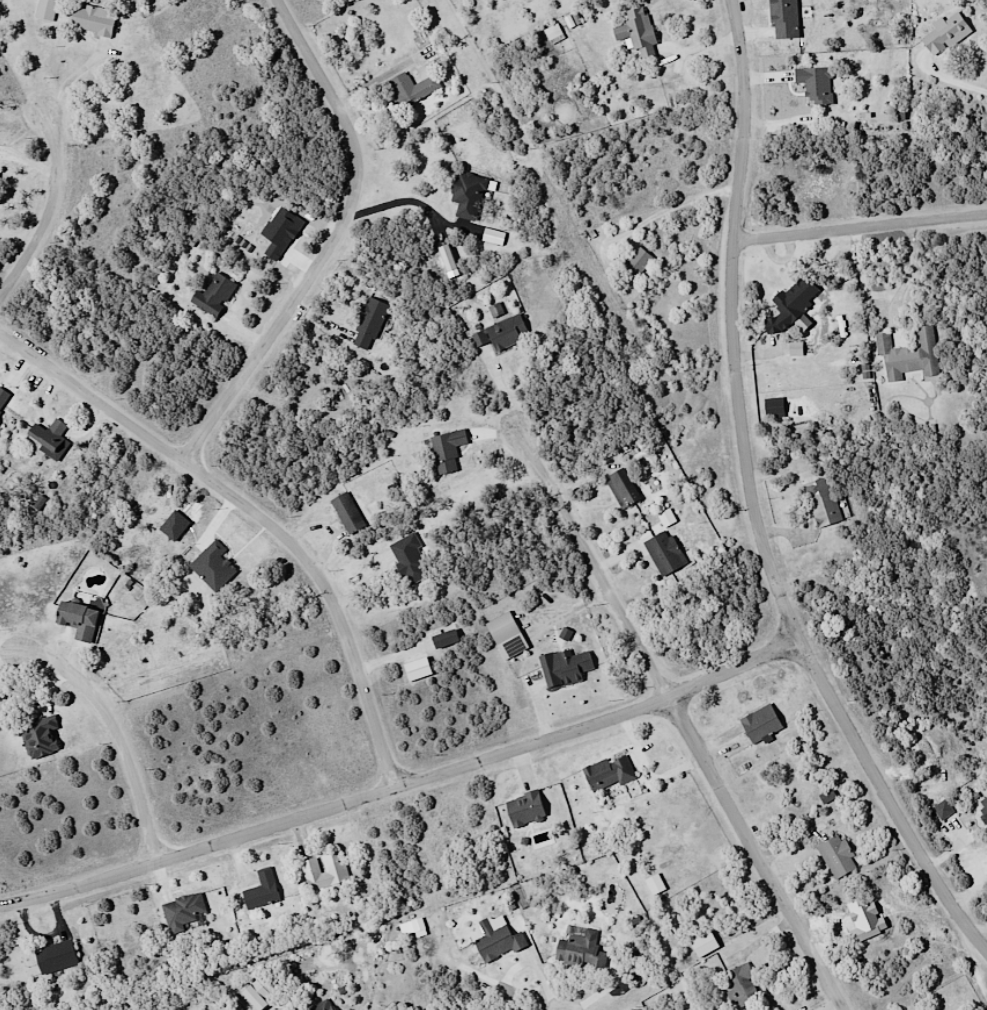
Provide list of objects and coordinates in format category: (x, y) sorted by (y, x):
building: (45, 9)
building: (783, 19)
building: (91, 20)
building: (636, 32)
building: (944, 33)
building: (815, 84)
building: (410, 88)
building: (467, 195)
road: (53, 203)
road: (855, 224)
road: (336, 238)
building: (446, 258)
building: (634, 264)
building: (213, 295)
building: (790, 304)
building: (368, 324)
building: (500, 334)
building: (908, 357)
building: (3, 398)
building: (773, 408)
building: (0, 422)
building: (48, 438)
building: (446, 450)
building: (621, 488)
building: (821, 502)
road: (748, 504)
road: (263, 509)
building: (346, 513)
building: (664, 553)
road: (594, 556)
building: (409, 560)
building: (78, 620)
building: (501, 628)
building: (444, 639)
building: (561, 668)
road: (128, 721)
building: (759, 724)
building: (39, 737)
building: (607, 774)
road: (405, 785)
building: (524, 809)
road: (754, 856)
building: (836, 856)
building: (324, 872)
building: (654, 884)
building: (261, 890)
building: (183, 913)
building: (497, 943)
building: (703, 944)
building: (579, 951)
building: (55, 957)
building: (740, 988)
building: (257, 992)
building: (322, 1006)

